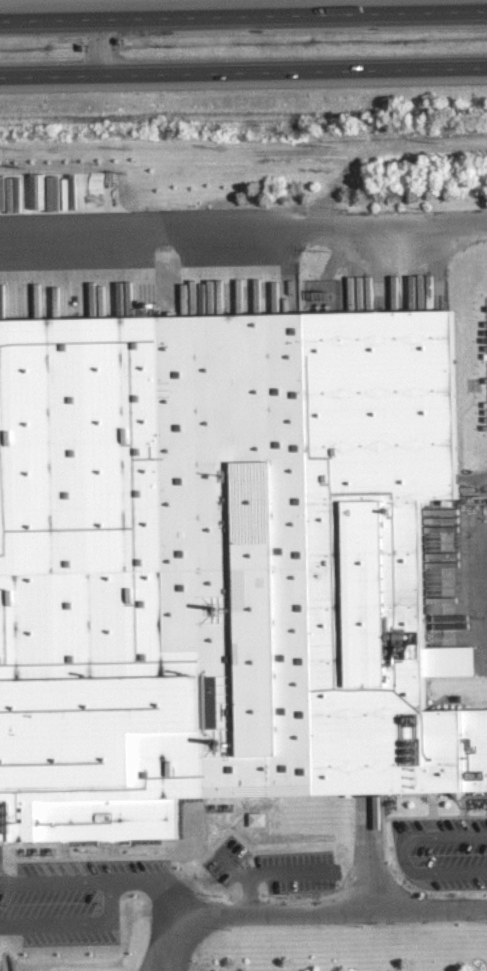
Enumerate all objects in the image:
road: (243, 15)
road: (101, 46)
road: (243, 72)
road: (301, 224)
road: (59, 245)
building: (313, 547)
road: (402, 854)
road: (105, 880)
road: (42, 881)
road: (17, 882)
road: (153, 886)
road: (334, 913)
road: (48, 923)
road: (170, 946)

